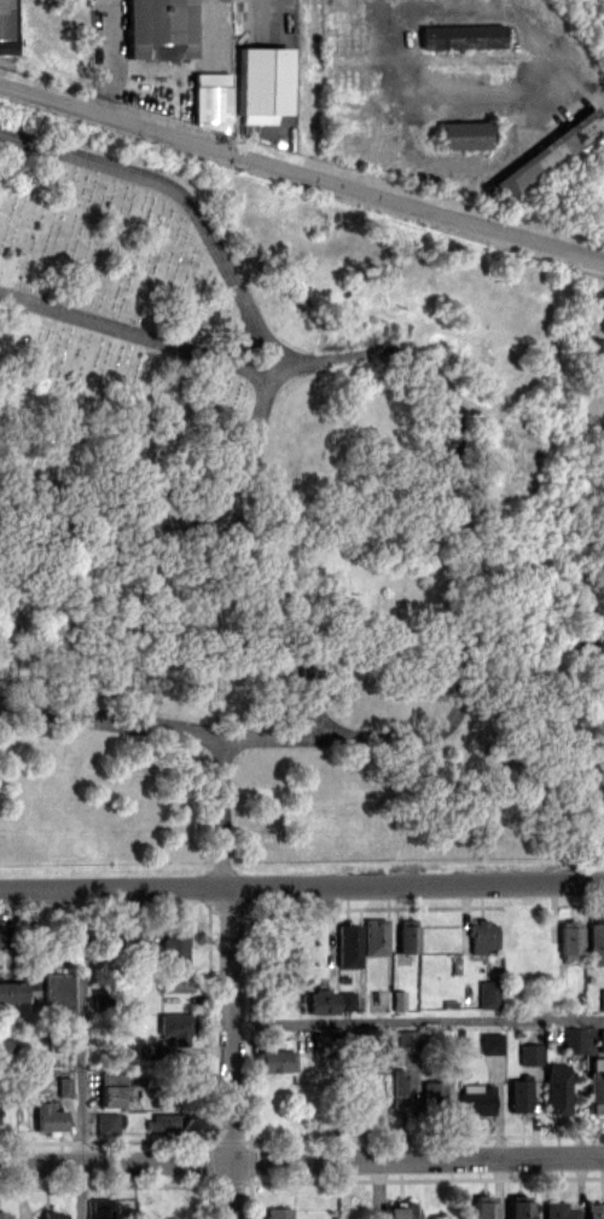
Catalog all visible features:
building: (6, 27)
building: (159, 28)
building: (461, 36)
road: (112, 64)
building: (262, 83)
road: (505, 96)
building: (211, 100)
building: (463, 134)
building: (548, 155)
road: (302, 164)
road: (191, 204)
road: (242, 343)
building: (593, 353)
road: (447, 385)
road: (251, 429)
road: (211, 507)
road: (234, 510)
park: (272, 516)
road: (230, 526)
road: (159, 727)
road: (221, 811)
road: (301, 885)
building: (406, 935)
building: (481, 935)
building: (374, 936)
building: (569, 938)
building: (2, 942)
building: (594, 943)
building: (173, 946)
building: (347, 946)
building: (173, 981)
building: (57, 992)
building: (487, 994)
building: (12, 996)
building: (397, 999)
building: (600, 999)
building: (320, 1000)
building: (344, 1000)
road: (417, 1019)
building: (174, 1027)
building: (571, 1039)
building: (600, 1039)
building: (406, 1040)
building: (321, 1042)
building: (489, 1042)
building: (4, 1048)
building: (149, 1050)
road: (231, 1052)
road: (81, 1053)
building: (529, 1053)
building: (275, 1059)
building: (594, 1086)
building: (556, 1087)
building: (400, 1092)
building: (432, 1092)
building: (518, 1093)
building: (475, 1099)
building: (48, 1117)
building: (108, 1122)
building: (162, 1122)
road: (301, 1160)
building: (483, 1207)
building: (111, 1208)
building: (517, 1208)
building: (400, 1211)
building: (558, 1211)
building: (594, 1211)
building: (278, 1213)
building: (5, 1214)
building: (52, 1214)

